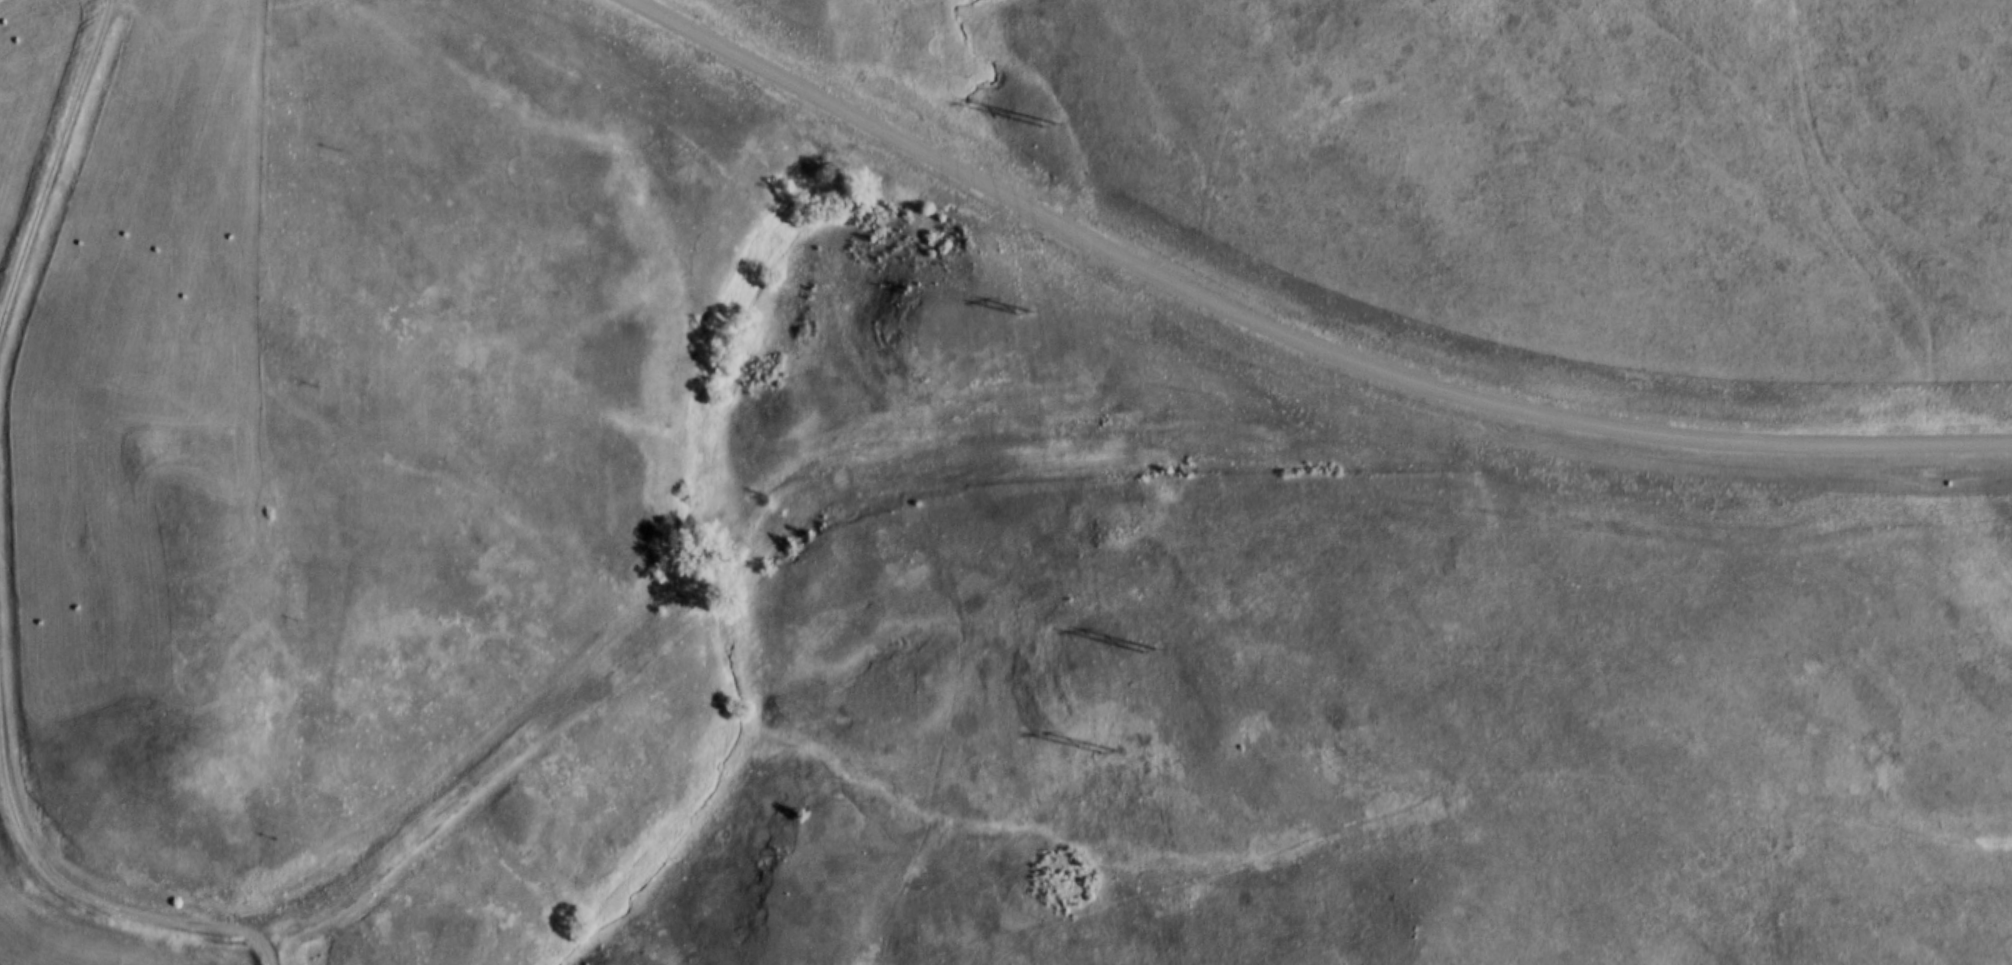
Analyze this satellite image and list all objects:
power tower: (1048, 130)
road: (54, 170)
power tower: (1022, 322)
road: (1282, 334)
power tower: (1146, 656)
power tower: (1104, 758)
road: (118, 906)

